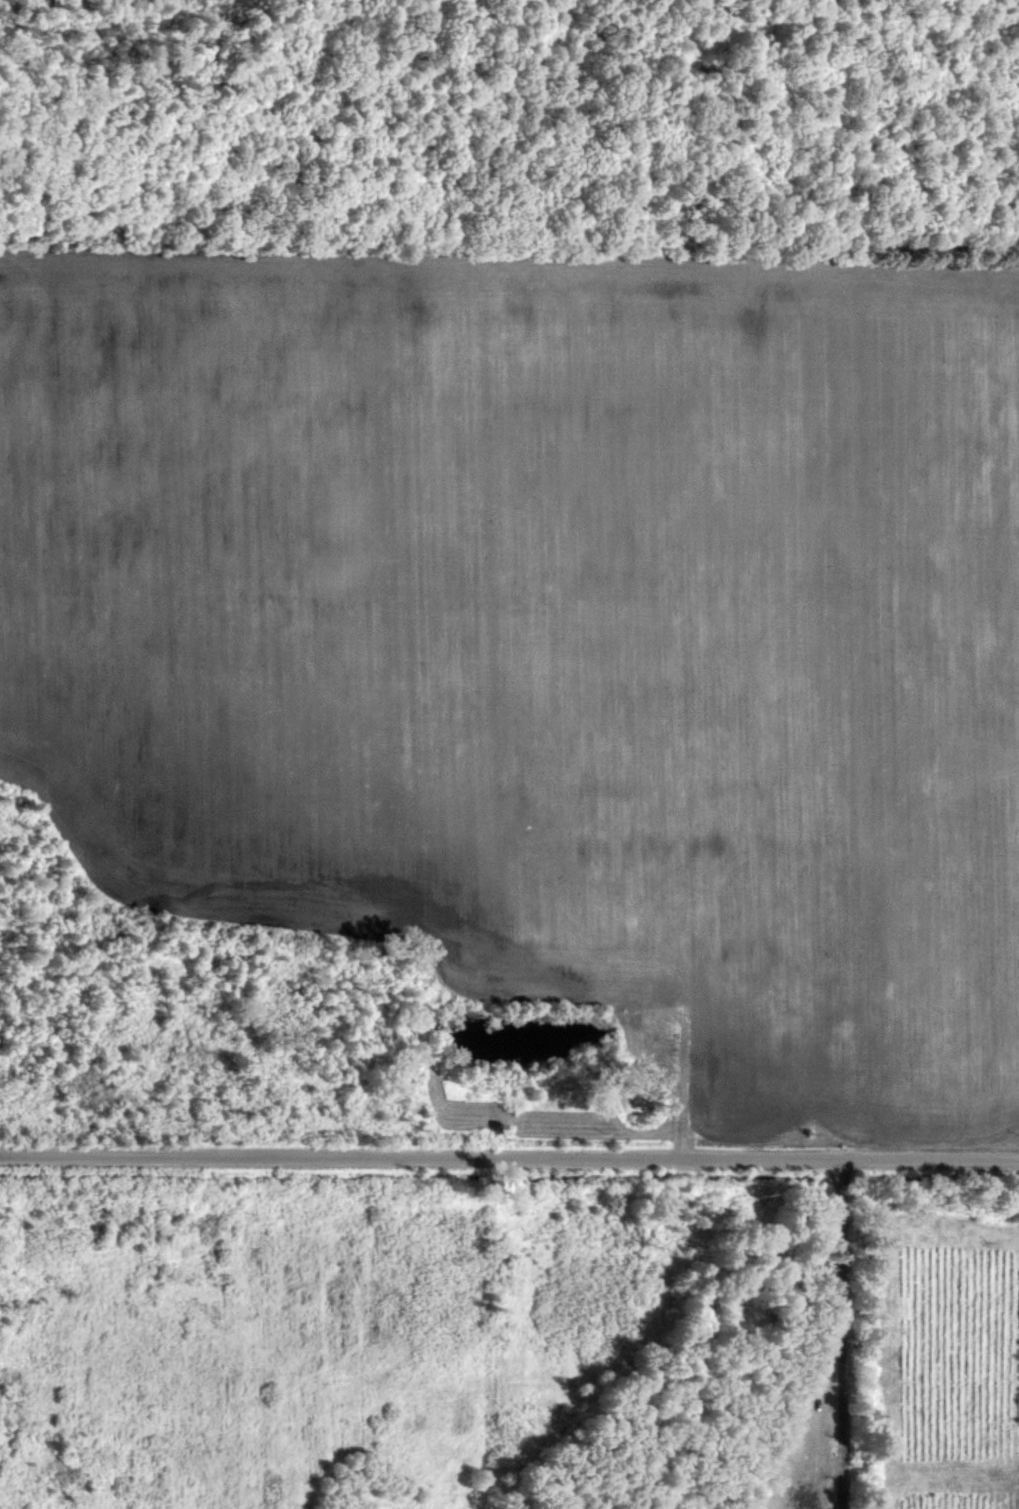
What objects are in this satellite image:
road: (509, 1158)
road: (843, 1334)

